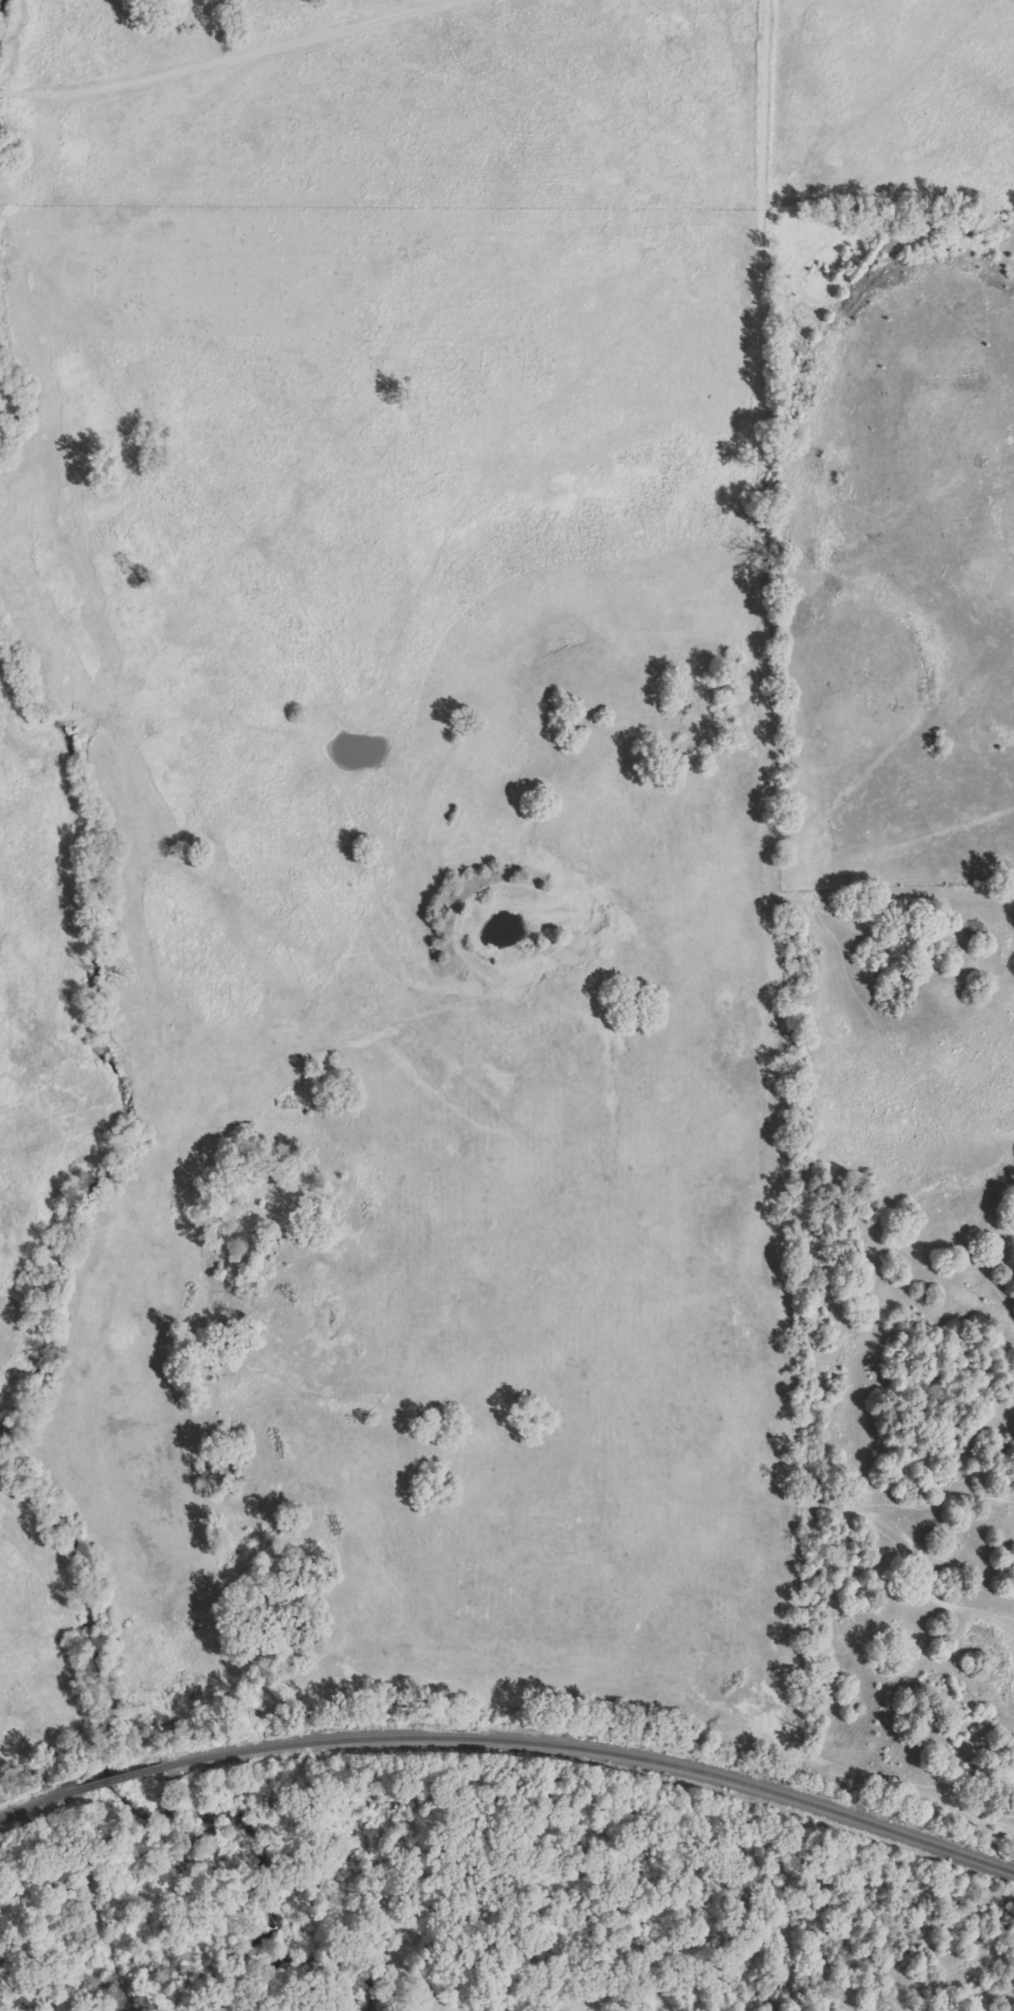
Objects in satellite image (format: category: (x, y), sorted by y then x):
railway: (511, 1740)

